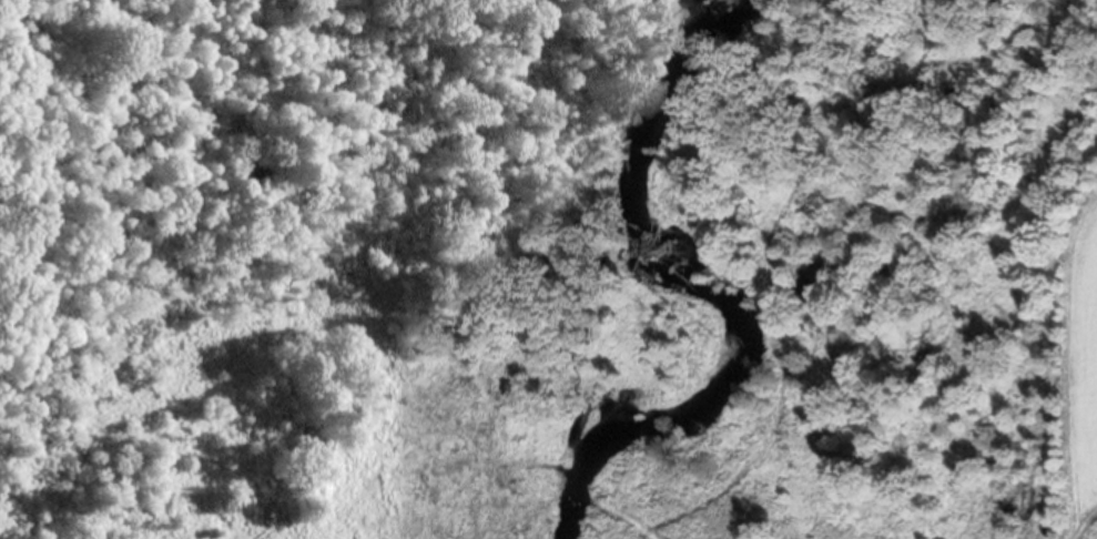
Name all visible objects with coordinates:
river: (689, 74)
river: (684, 183)
river: (652, 363)
river: (588, 511)

